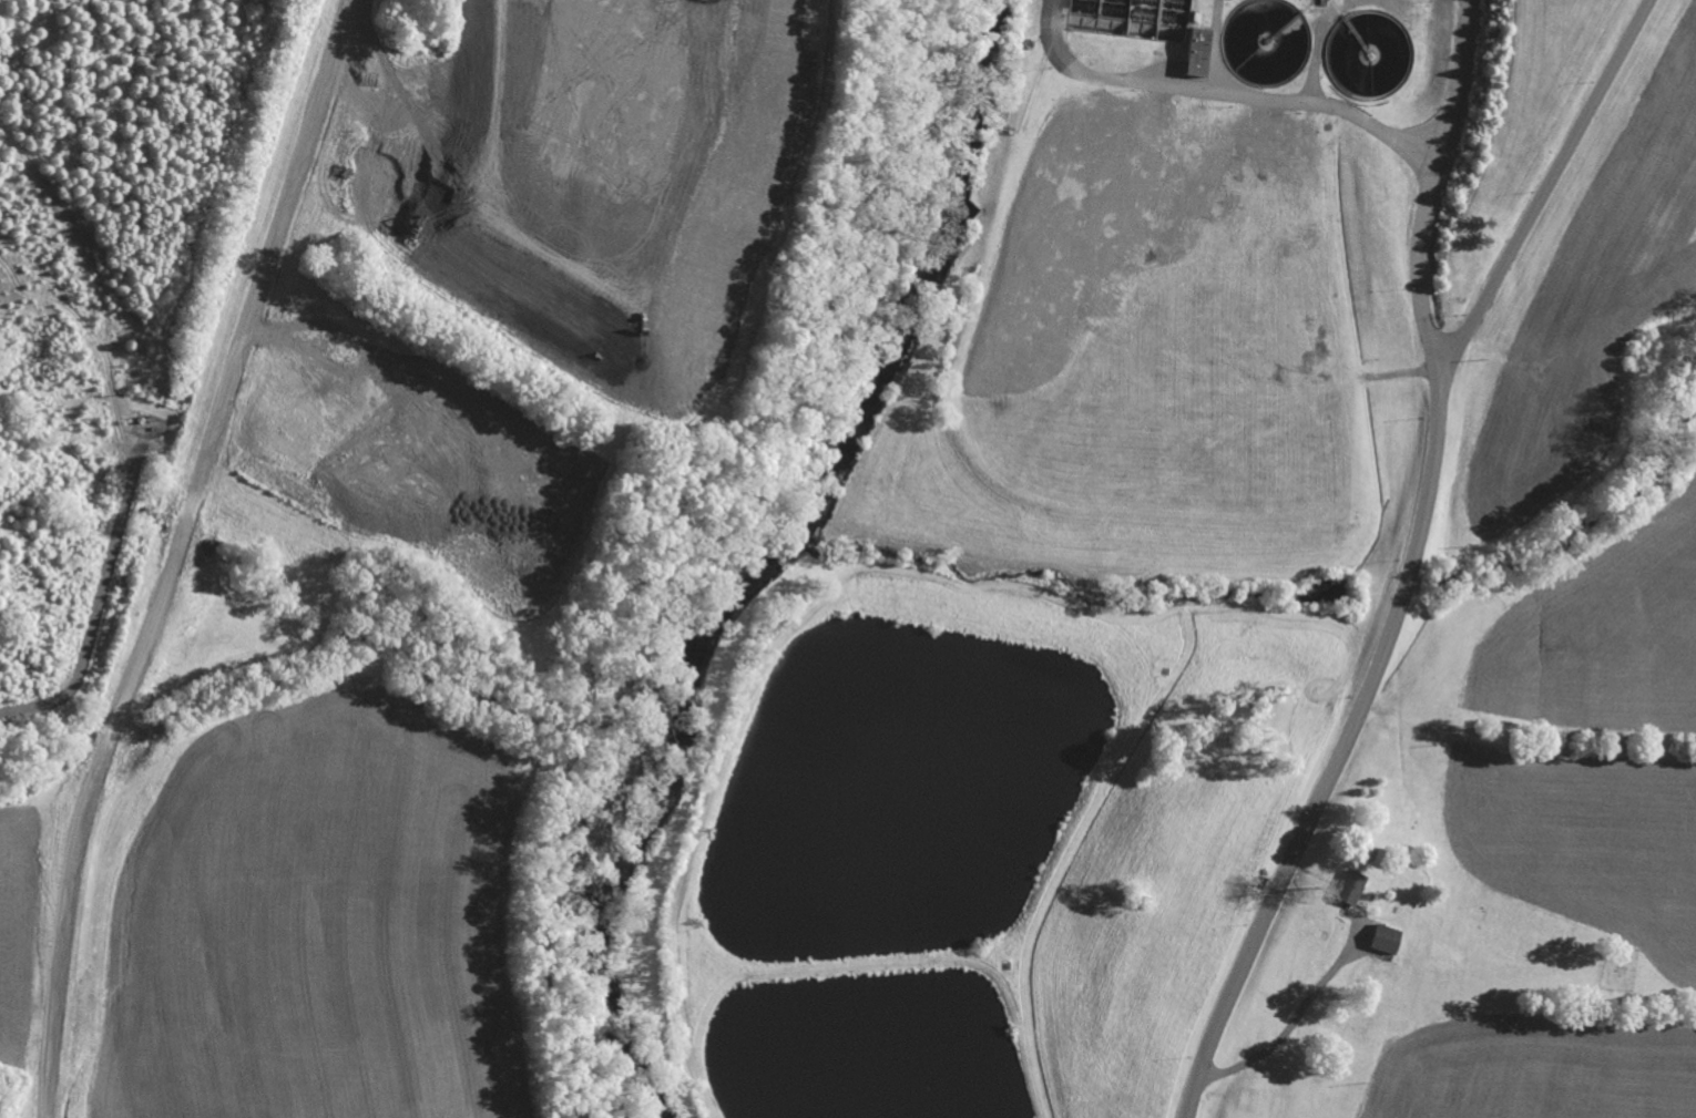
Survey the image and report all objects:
building: (1196, 51)
road: (1226, 91)
road: (1432, 191)
road: (94, 338)
road: (1418, 533)
road: (172, 554)
wastewater plant: (917, 576)
road: (96, 607)
building: (1349, 886)
building: (1383, 938)
park: (1617, 967)
road: (1291, 1023)
road: (1193, 1097)

